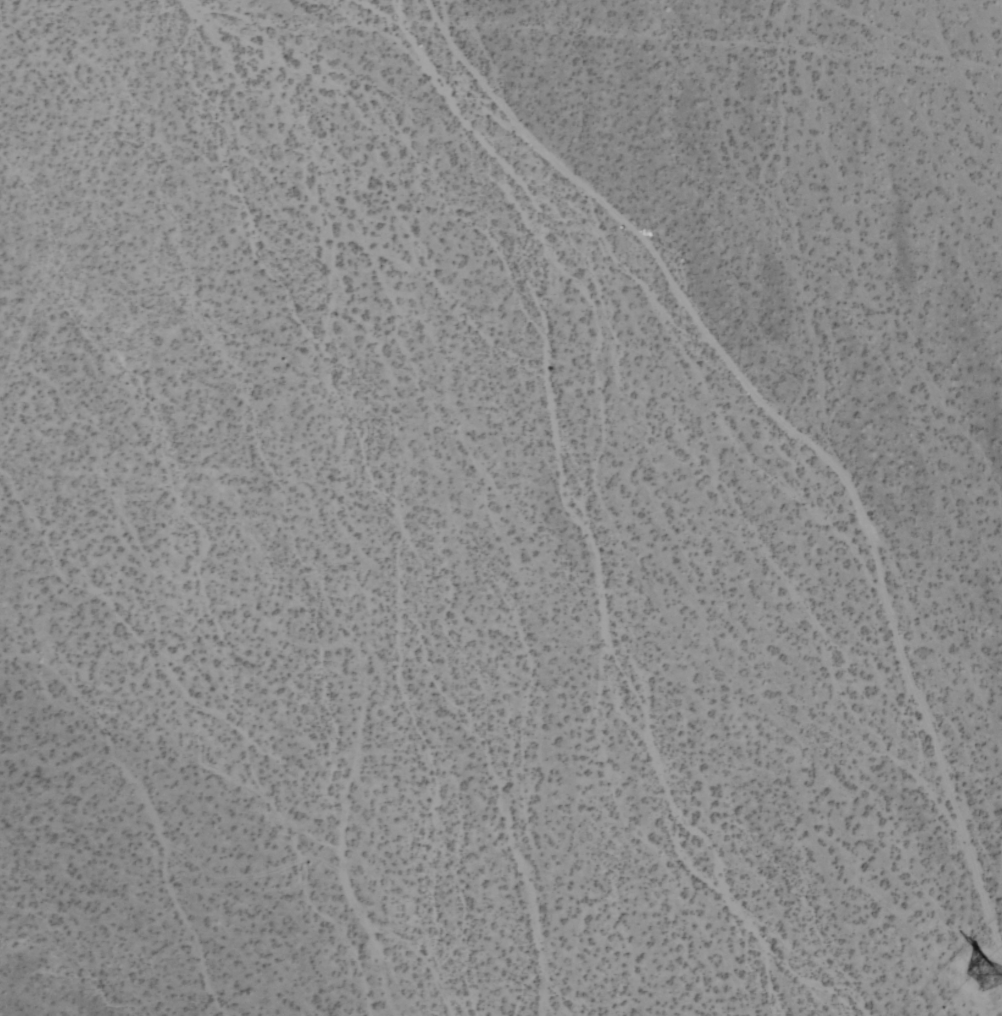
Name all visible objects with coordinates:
power tower: (963, 973)

